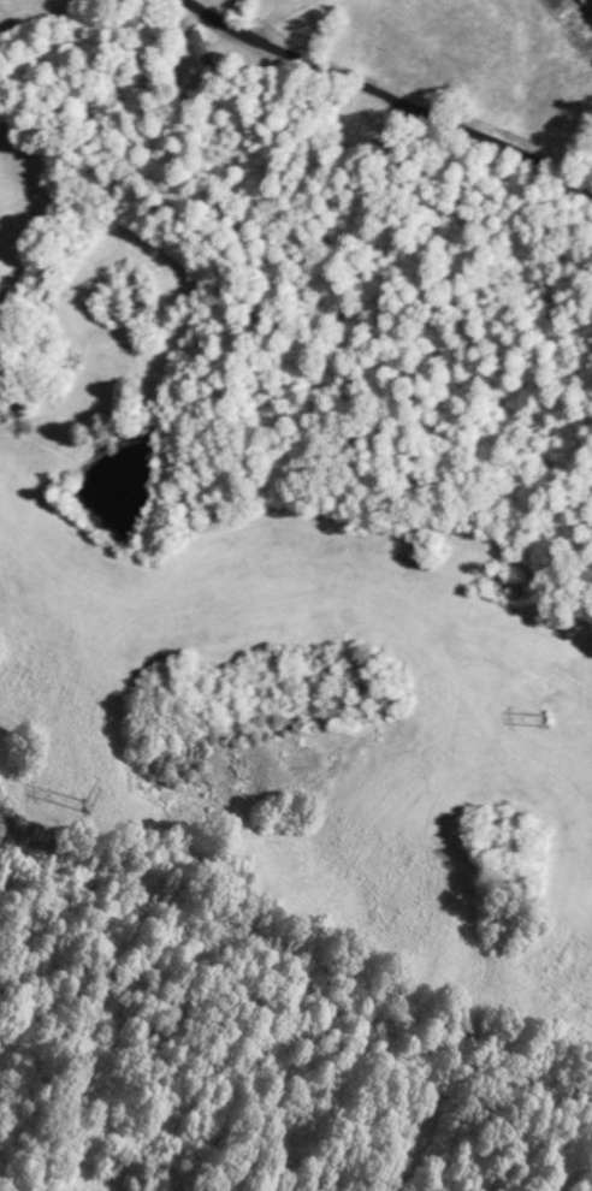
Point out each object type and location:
building: (586, 1)
road: (389, 94)

